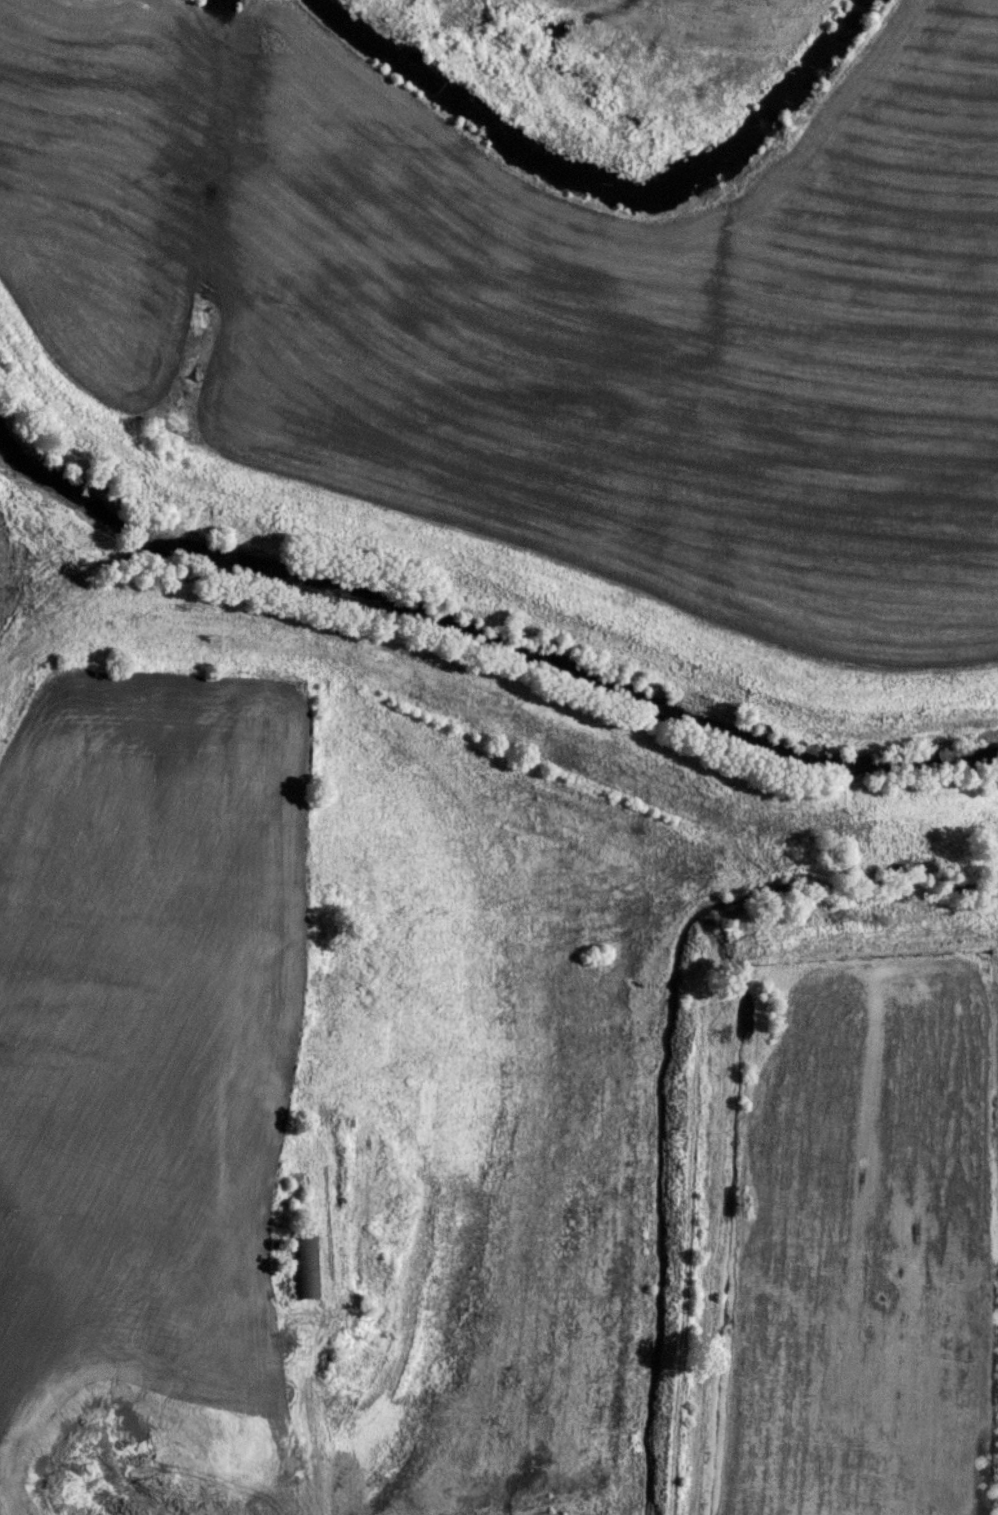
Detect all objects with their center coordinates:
building: (305, 1262)

